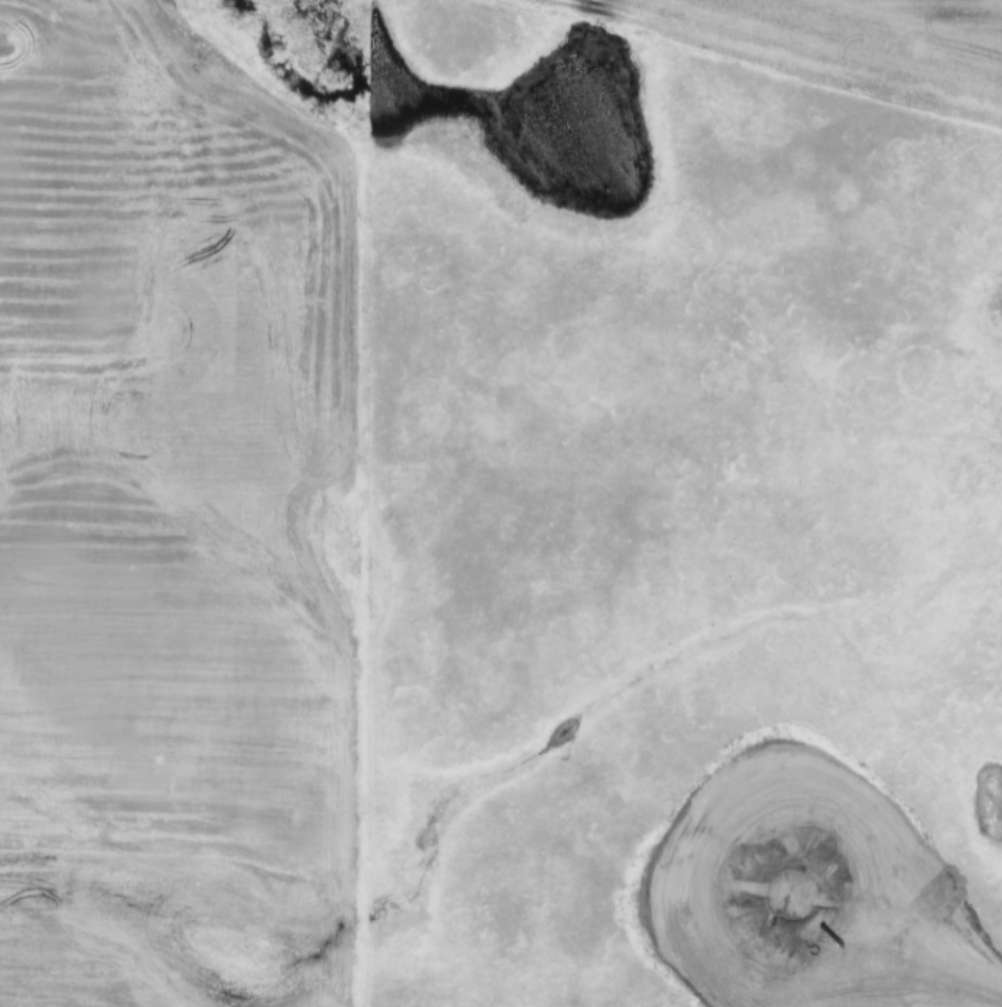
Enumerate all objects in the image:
wind turbine: (799, 901)

